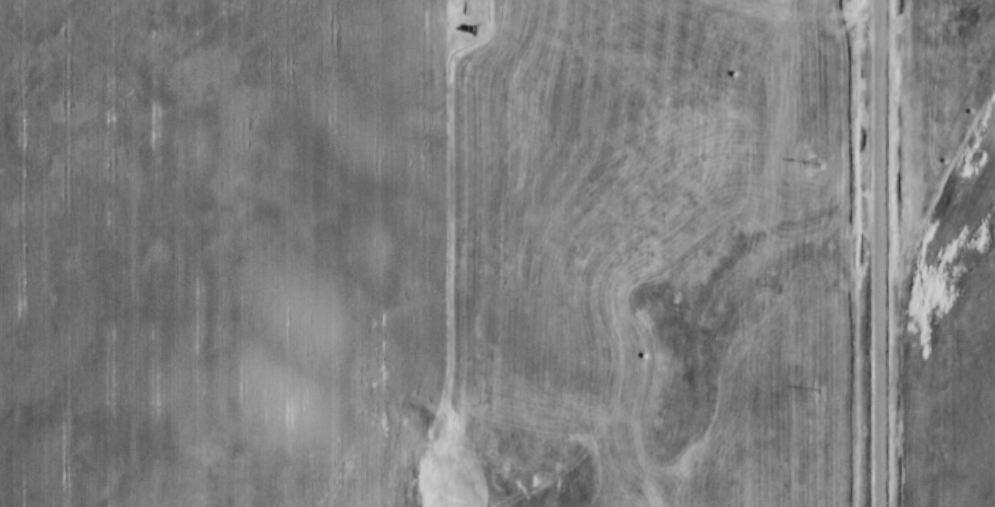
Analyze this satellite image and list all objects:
road: (881, 253)

